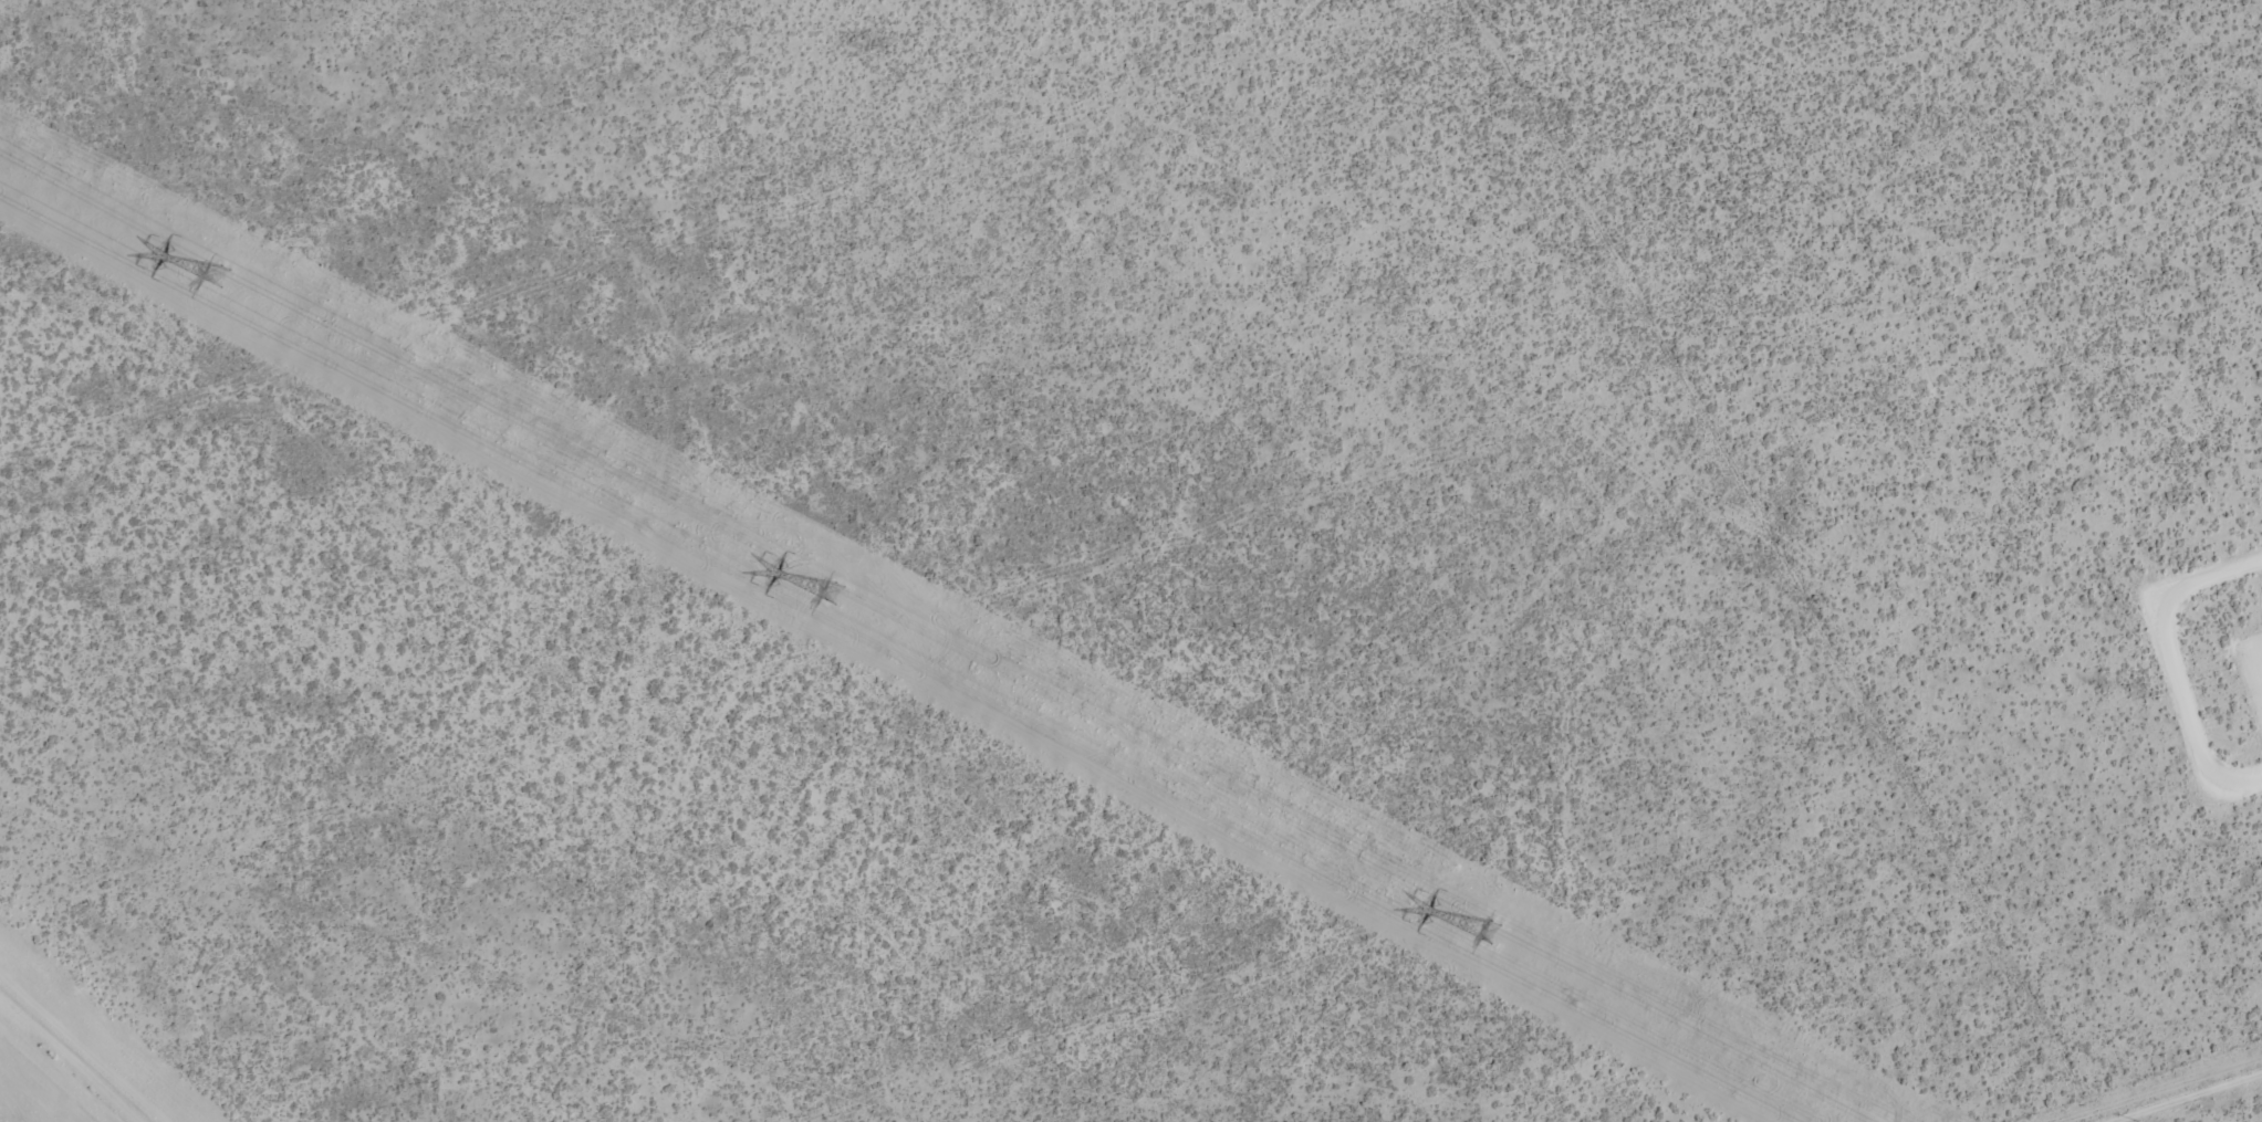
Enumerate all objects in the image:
power tower: (220, 279)
power tower: (835, 595)
power tower: (1492, 933)

